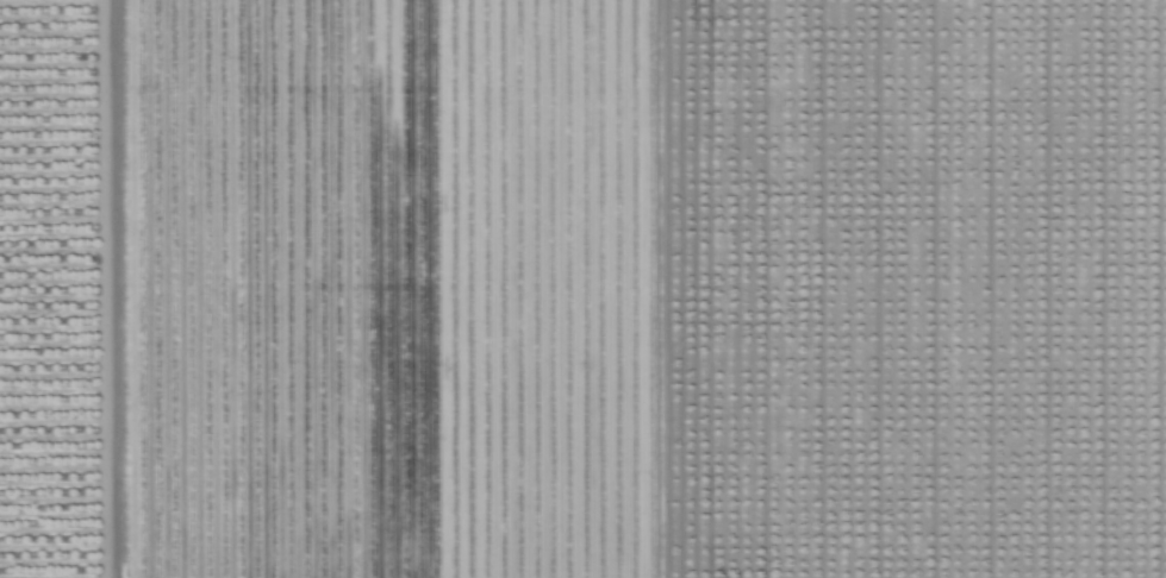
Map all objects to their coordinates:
road: (104, 289)

